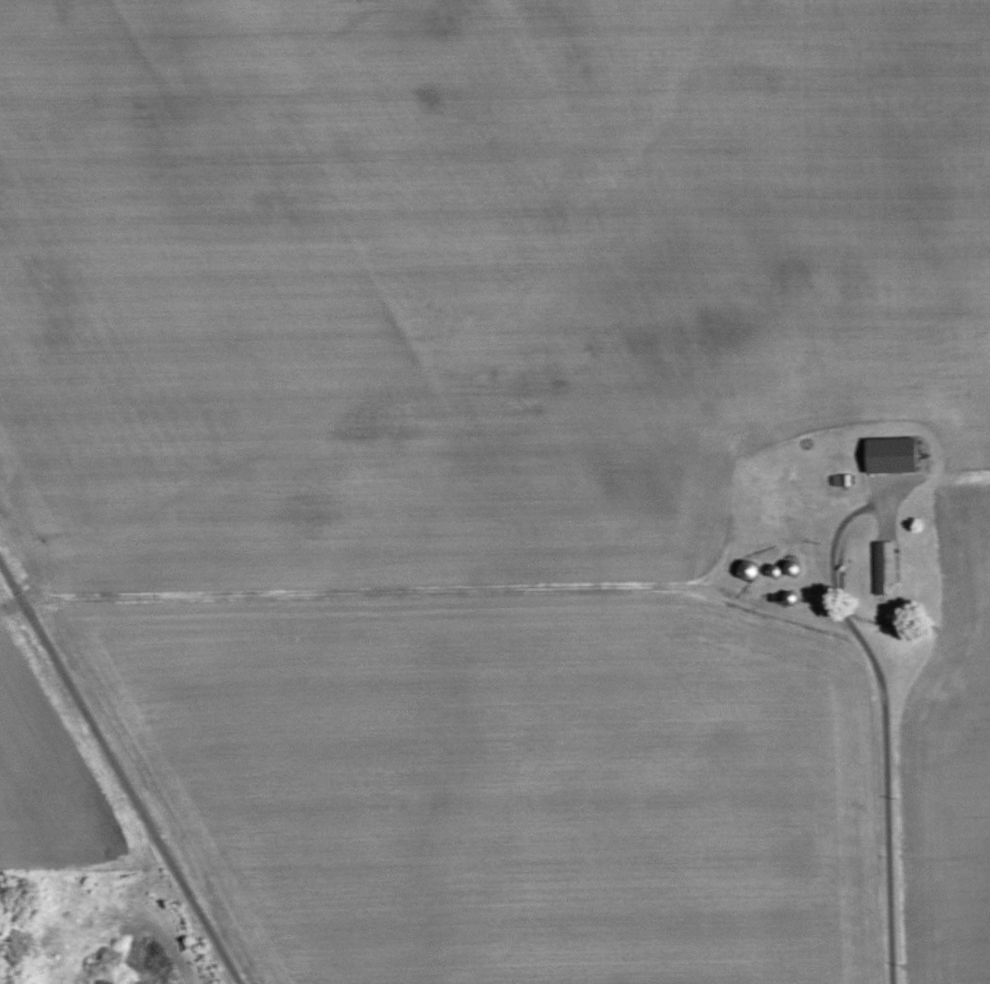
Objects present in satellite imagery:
building: (889, 455)
building: (839, 480)
building: (883, 565)
building: (790, 568)
road: (833, 584)
road: (119, 774)
road: (885, 834)
road: (143, 924)

